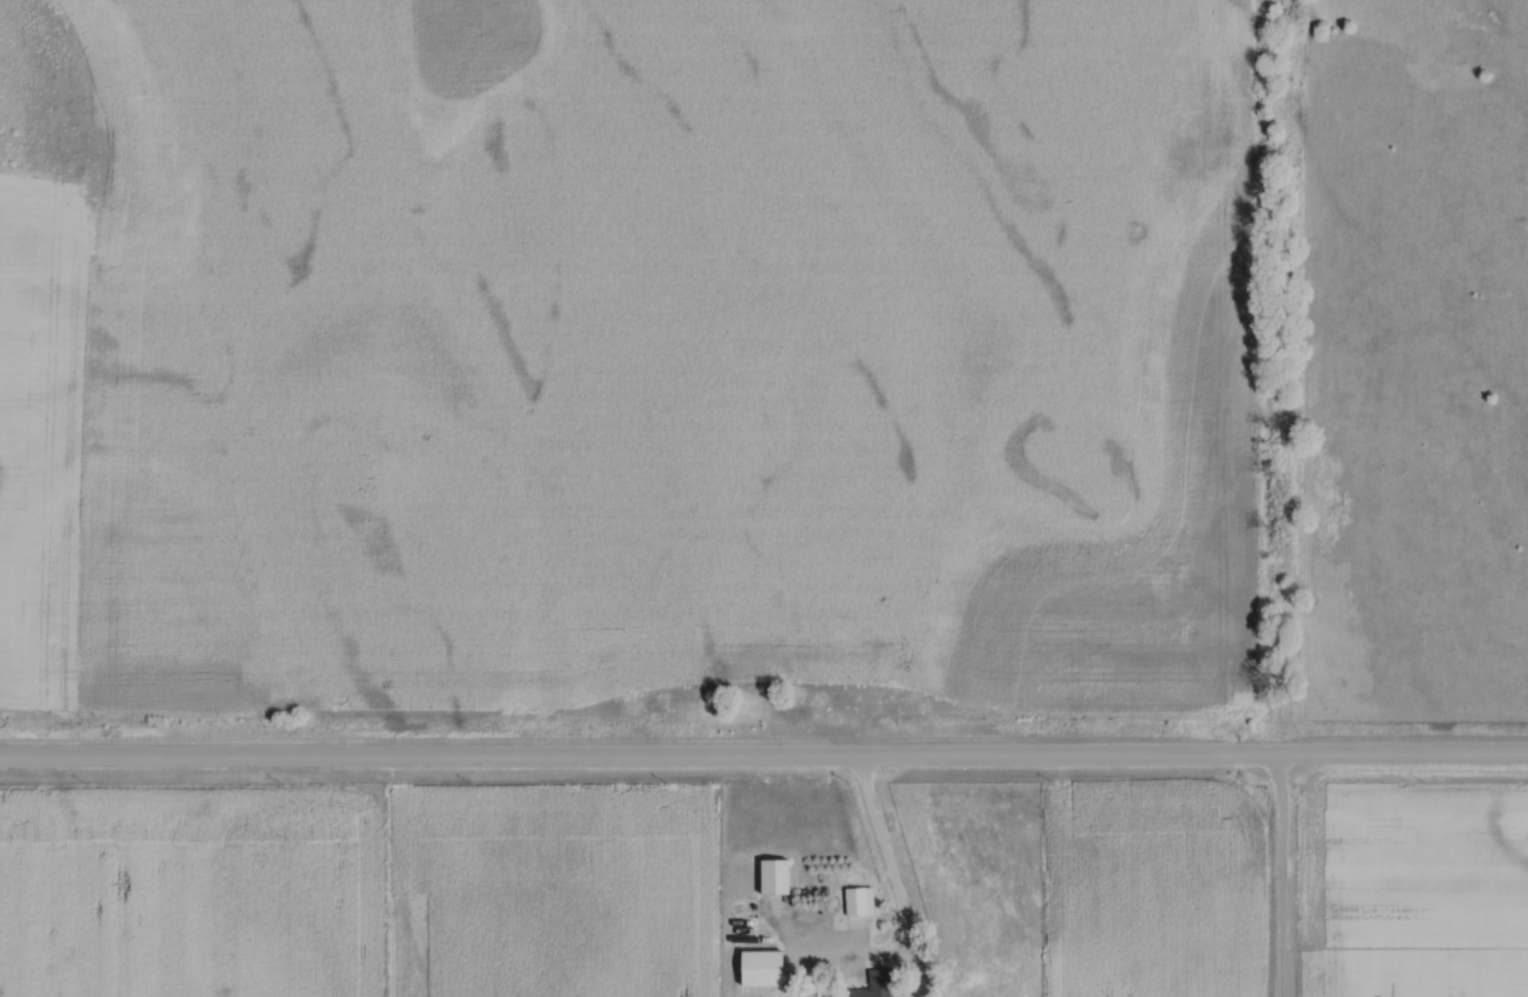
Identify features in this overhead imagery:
road: (763, 760)
building: (776, 875)
road: (1281, 878)
road: (894, 886)
building: (851, 920)
building: (763, 967)
building: (872, 982)

